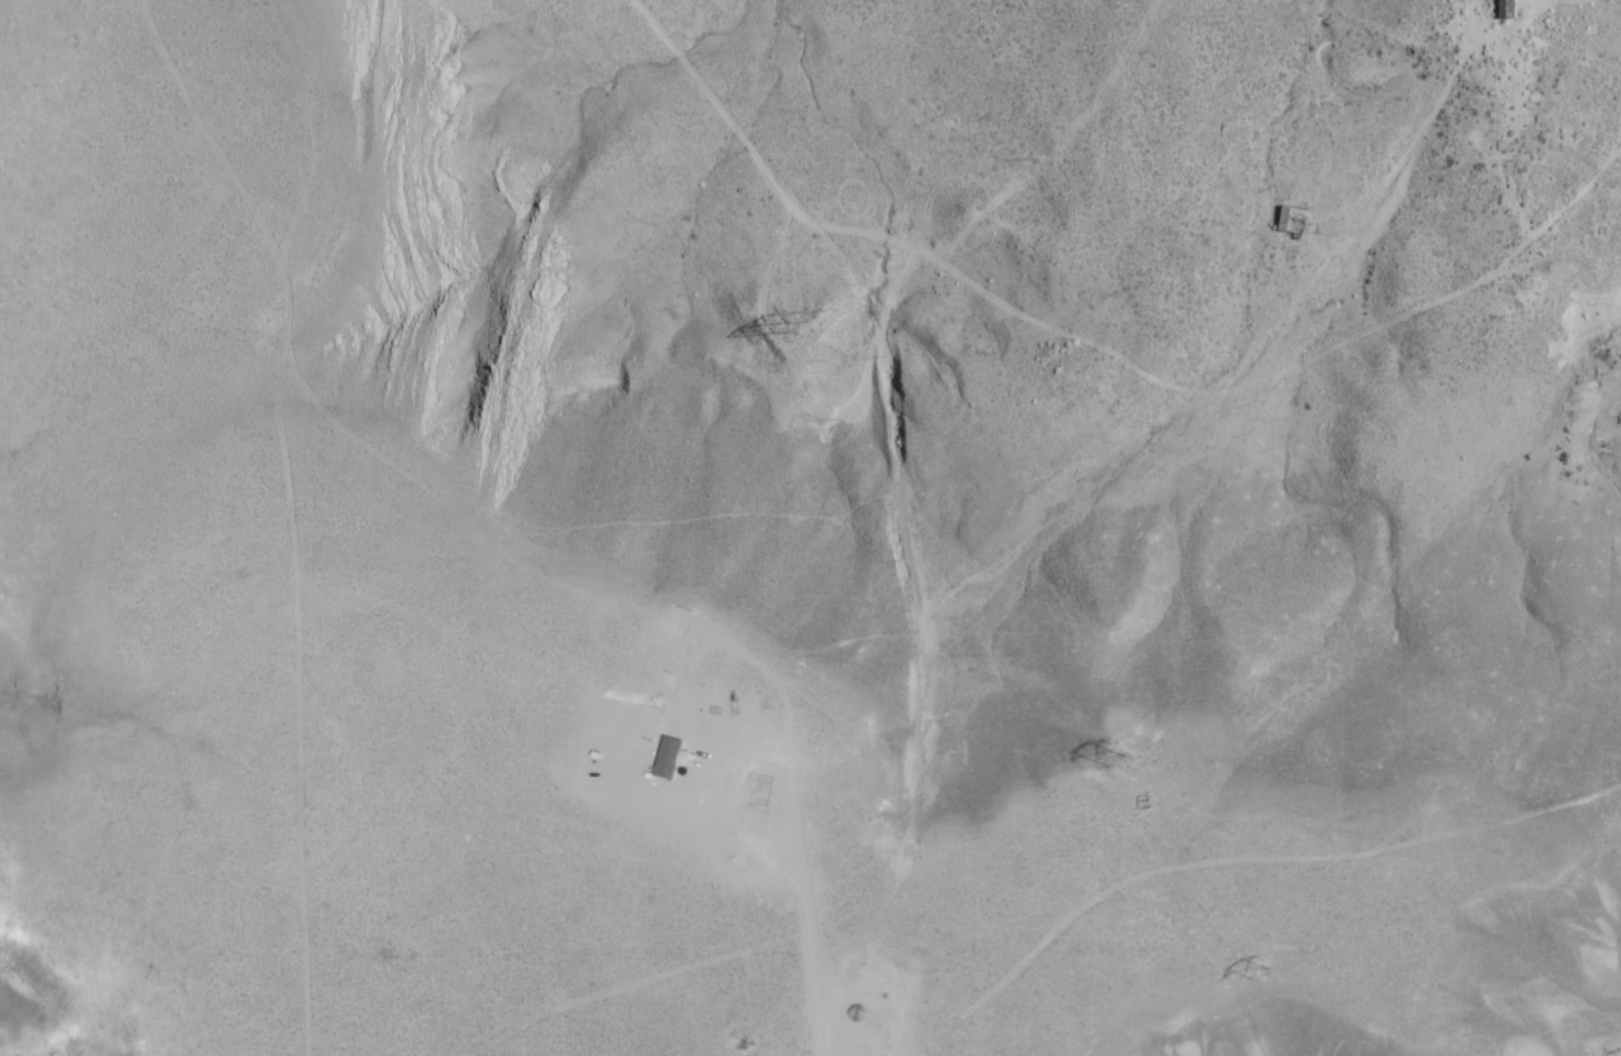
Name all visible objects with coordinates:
building: (1506, 9)
power tower: (813, 315)
road: (920, 508)
power tower: (1117, 755)
road: (971, 958)
power tower: (1259, 971)

